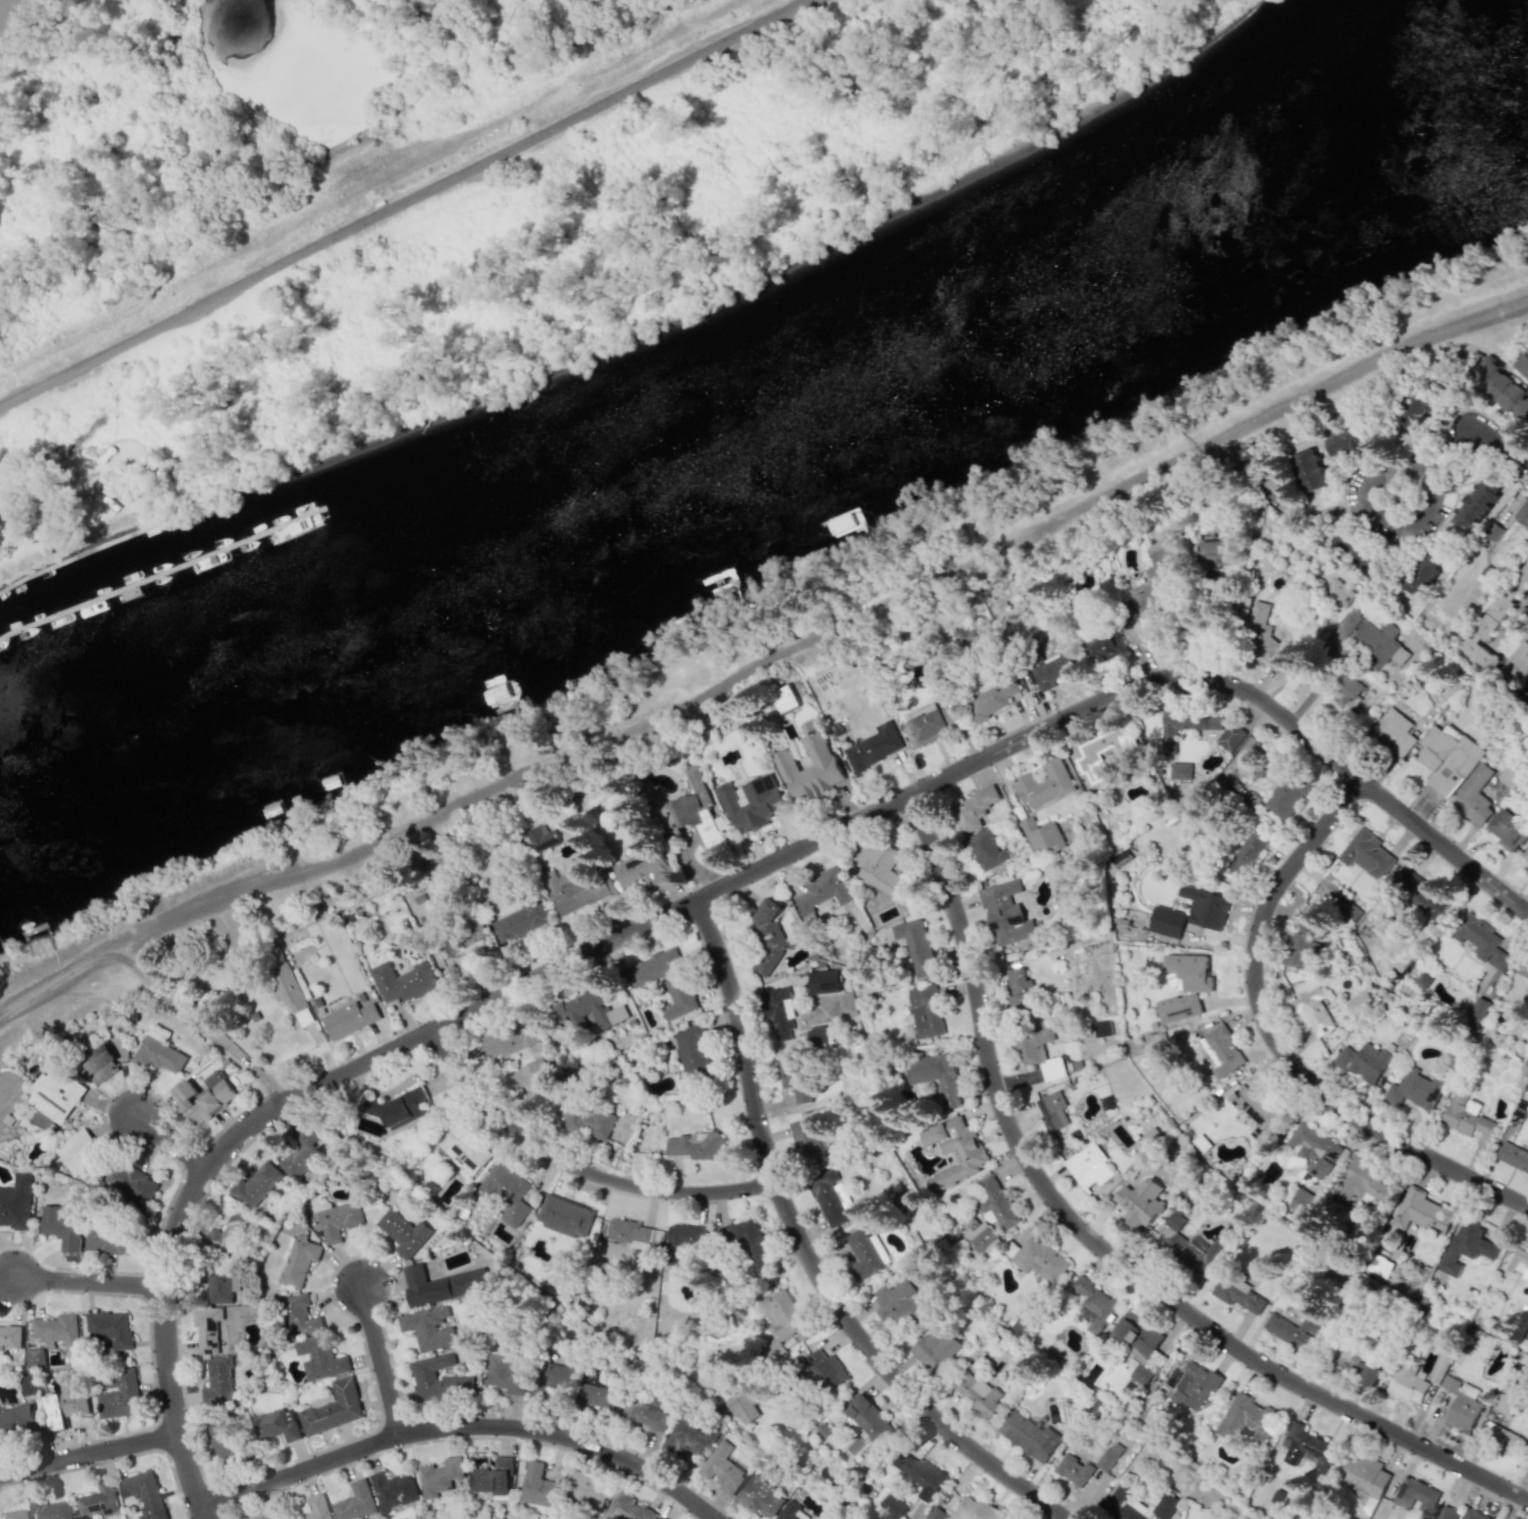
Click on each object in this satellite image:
road: (401, 204)
building: (1522, 366)
building: (1501, 389)
building: (1415, 410)
road: (1490, 435)
building: (1346, 441)
road: (1451, 447)
river: (777, 450)
building: (1308, 470)
building: (1476, 505)
road: (1369, 514)
building: (1522, 515)
building: (1353, 549)
building: (1216, 555)
building: (1424, 568)
building: (1155, 577)
building: (1520, 584)
building: (1338, 593)
building: (963, 634)
building: (1473, 637)
building: (1366, 638)
building: (1263, 639)
road: (1213, 646)
building: (1107, 648)
road: (768, 669)
building: (1052, 670)
building: (1346, 692)
building: (783, 698)
building: (991, 700)
building: (926, 724)
building: (1185, 726)
building: (1393, 732)
building: (872, 748)
building: (1096, 756)
building: (1446, 758)
building: (821, 759)
building: (1236, 767)
building: (1176, 779)
building: (1044, 784)
building: (1286, 795)
building: (1472, 796)
building: (750, 803)
building: (974, 808)
building: (692, 812)
building: (1507, 830)
building: (1041, 835)
building: (542, 836)
building: (986, 850)
building: (1247, 854)
building: (1525, 854)
building: (1367, 855)
building: (1119, 857)
building: (879, 866)
building: (644, 868)
building: (823, 890)
building: (1421, 890)
building: (573, 892)
road: (712, 894)
building: (1205, 907)
building: (1005, 913)
building: (1350, 913)
building: (521, 921)
building: (1166, 922)
building: (1304, 938)
building: (768, 939)
building: (464, 941)
building: (916, 946)
building: (1522, 968)
building: (1187, 973)
building: (1423, 980)
building: (404, 981)
building: (824, 981)
building: (677, 985)
building: (1019, 987)
building: (286, 988)
building: (1527, 998)
building: (1478, 1007)
building: (1179, 1008)
building: (588, 1011)
building: (779, 1011)
building: (925, 1011)
building: (1313, 1013)
building: (350, 1019)
building: (1102, 1028)
building: (817, 1036)
building: (508, 1040)
road: (1280, 1046)
building: (160, 1051)
building: (1221, 1051)
building: (1039, 1053)
building: (693, 1058)
building: (1363, 1061)
building: (98, 1064)
building: (935, 1075)
building: (795, 1077)
building: (533, 1079)
building: (1414, 1090)
building: (55, 1095)
building: (204, 1097)
building: (399, 1107)
building: (1052, 1110)
building: (1256, 1111)
building: (1467, 1116)
building: (587, 1119)
building: (808, 1139)
road: (172, 1142)
building: (695, 1146)
building: (462, 1149)
building: (955, 1150)
building: (1313, 1150)
building: (78, 1151)
building: (302, 1152)
building: (1513, 1156)
road: (580, 1165)
building: (1090, 1166)
building: (130, 1182)
building: (1361, 1182)
building: (256, 1185)
building: (506, 1192)
building: (827, 1198)
building: (16, 1202)
building: (995, 1202)
building: (1140, 1203)
building: (1299, 1206)
building: (1422, 1212)
building: (565, 1216)
building: (338, 1220)
building: (1174, 1221)
building: (63, 1226)
building: (403, 1233)
building: (979, 1234)
building: (230, 1235)
building: (686, 1237)
building: (1478, 1238)
building: (110, 1242)
building: (747, 1243)
road: (1099, 1245)
building: (1194, 1252)
building: (863, 1254)
road: (812, 1255)
building: (299, 1259)
building: (1040, 1259)
building: (1519, 1263)
building: (1378, 1266)
road: (88, 1280)
building: (423, 1286)
building: (219, 1287)
building: (1238, 1294)
building: (896, 1301)
building: (1094, 1305)
building: (300, 1314)
building: (779, 1323)
building: (109, 1328)
building: (207, 1328)
building: (430, 1328)
building: (57, 1331)
building: (1295, 1331)
building: (10, 1336)
building: (1141, 1347)
building: (935, 1348)
building: (320, 1358)
building: (34, 1359)
road: (382, 1361)
building: (1358, 1365)
building: (1438, 1367)
building: (826, 1371)
building: (504, 1374)
building: (557, 1376)
building: (438, 1379)
building: (218, 1381)
building: (1446, 1382)
building: (1406, 1383)
building: (28, 1385)
building: (1194, 1386)
building: (596, 1394)
building: (976, 1394)
building: (118, 1395)
building: (323, 1400)
building: (1505, 1405)
building: (65, 1407)
building: (334, 1409)
building: (1462, 1412)
building: (645, 1414)
building: (869, 1418)
building: (1247, 1419)
building: (20, 1420)
building: (278, 1425)
road: (464, 1426)
building: (689, 1436)
building: (1029, 1436)
building: (1500, 1438)
building: (224, 1440)
building: (1308, 1450)
road: (88, 1454)
building: (1109, 1456)
building: (721, 1468)
building: (1074, 1470)
building: (440, 1476)
building: (922, 1476)
building: (492, 1477)
building: (1361, 1484)
building: (538, 1486)
road: (1523, 1488)
building: (393, 1489)
building: (585, 1492)
building: (144, 1494)
building: (759, 1495)
building: (1416, 1495)
building: (98, 1502)
building: (355, 1502)
building: (1138, 1505)
building: (891, 1507)
building: (316, 1508)
building: (627, 1508)
building: (53, 1510)
building: (977, 1510)
building: (790, 1511)
building: (16, 1514)
building: (936, 1514)
building: (1460, 1514)
building: (267, 1516)
building: (659, 1518)

